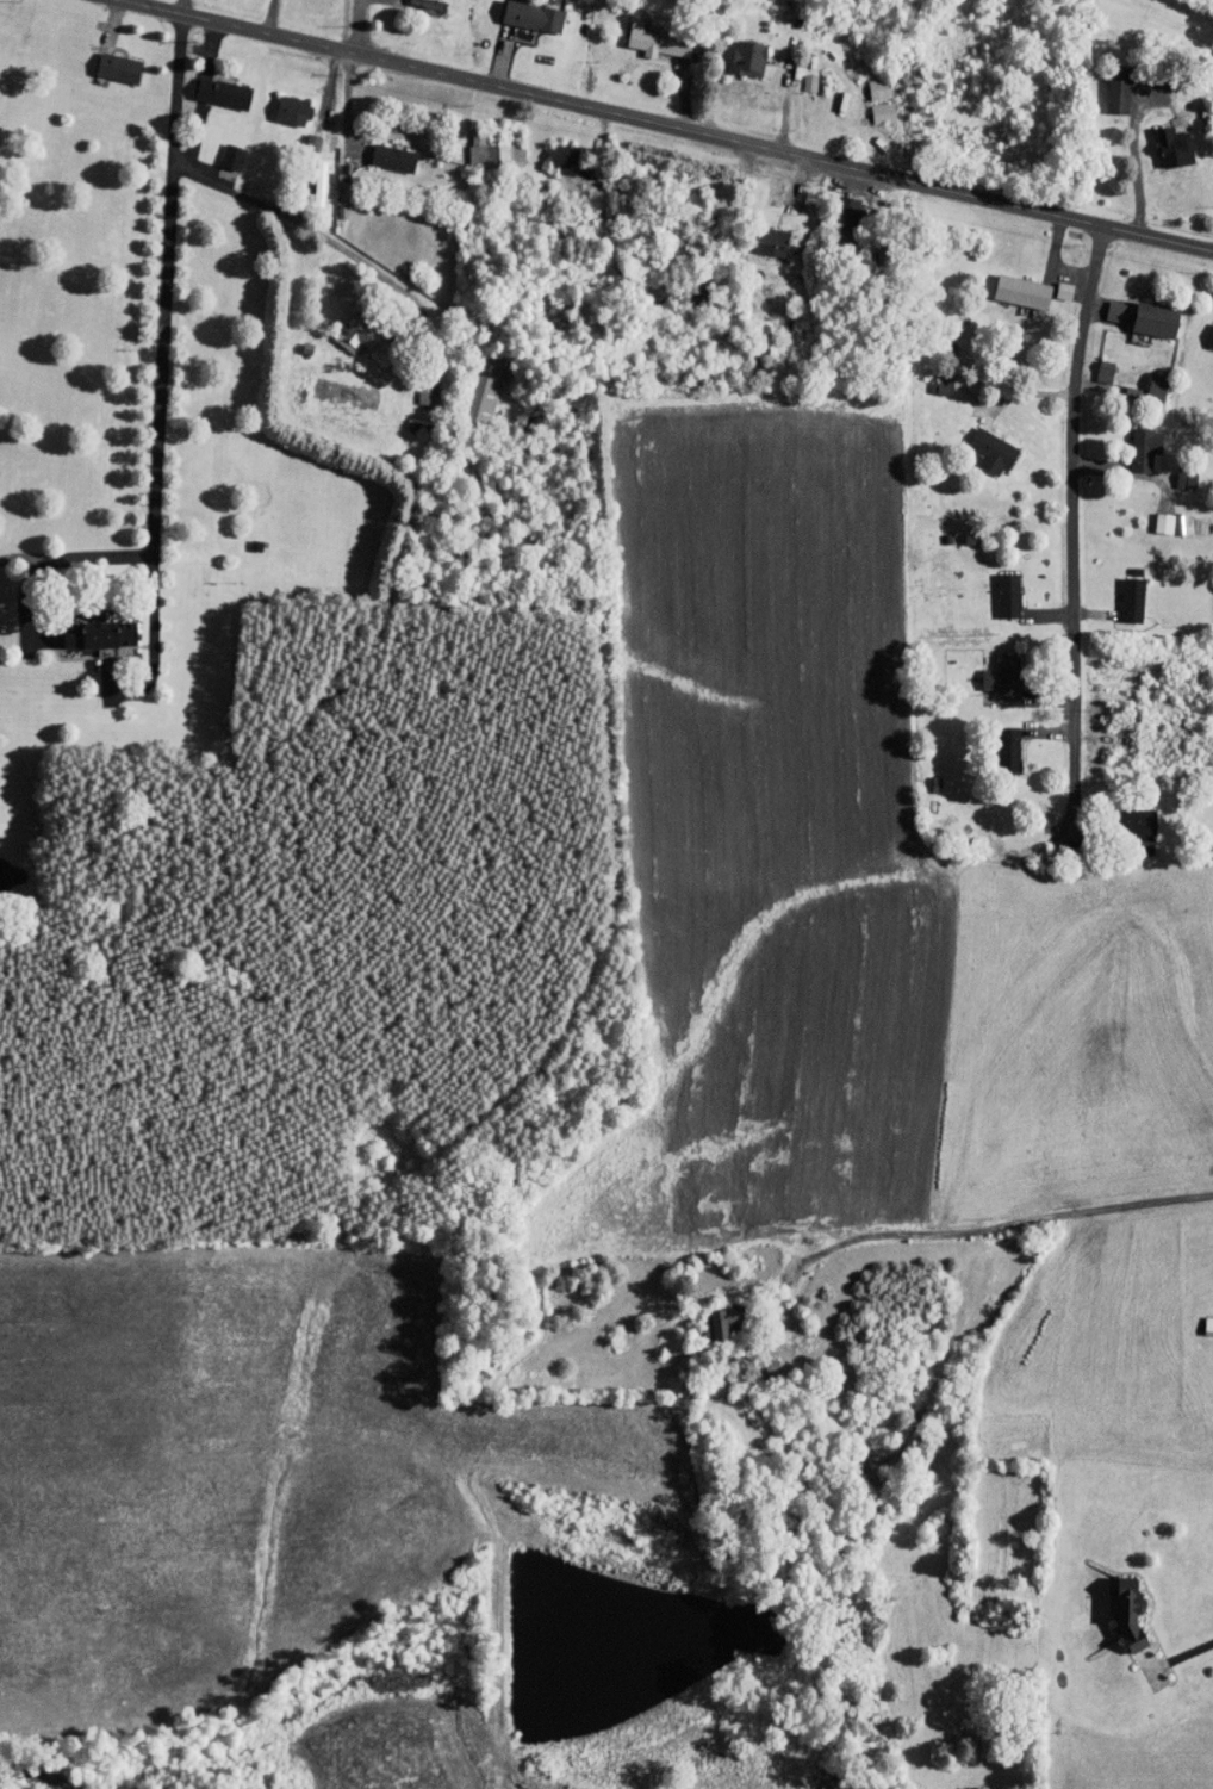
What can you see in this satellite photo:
building: (421, 2)
building: (523, 11)
road: (360, 29)
building: (647, 33)
building: (736, 50)
building: (107, 60)
building: (796, 75)
building: (866, 81)
building: (212, 86)
road: (866, 86)
building: (1107, 86)
building: (281, 104)
building: (870, 105)
road: (664, 130)
building: (300, 135)
building: (1163, 139)
building: (481, 147)
building: (219, 149)
building: (382, 150)
building: (552, 151)
building: (307, 175)
building: (331, 200)
building: (760, 234)
road: (309, 238)
road: (1056, 261)
building: (1053, 282)
building: (1012, 284)
road: (160, 297)
building: (1134, 310)
building: (346, 328)
building: (1207, 329)
building: (1093, 364)
building: (929, 377)
building: (1145, 379)
building: (472, 380)
building: (415, 385)
building: (1134, 442)
building: (979, 445)
building: (1174, 470)
building: (1151, 516)
road: (1074, 529)
building: (996, 588)
building: (1120, 592)
building: (991, 670)
building: (997, 743)
building: (1125, 816)
road: (965, 1235)
building: (710, 1316)
building: (1202, 1318)
building: (1119, 1604)
road: (1190, 1653)

